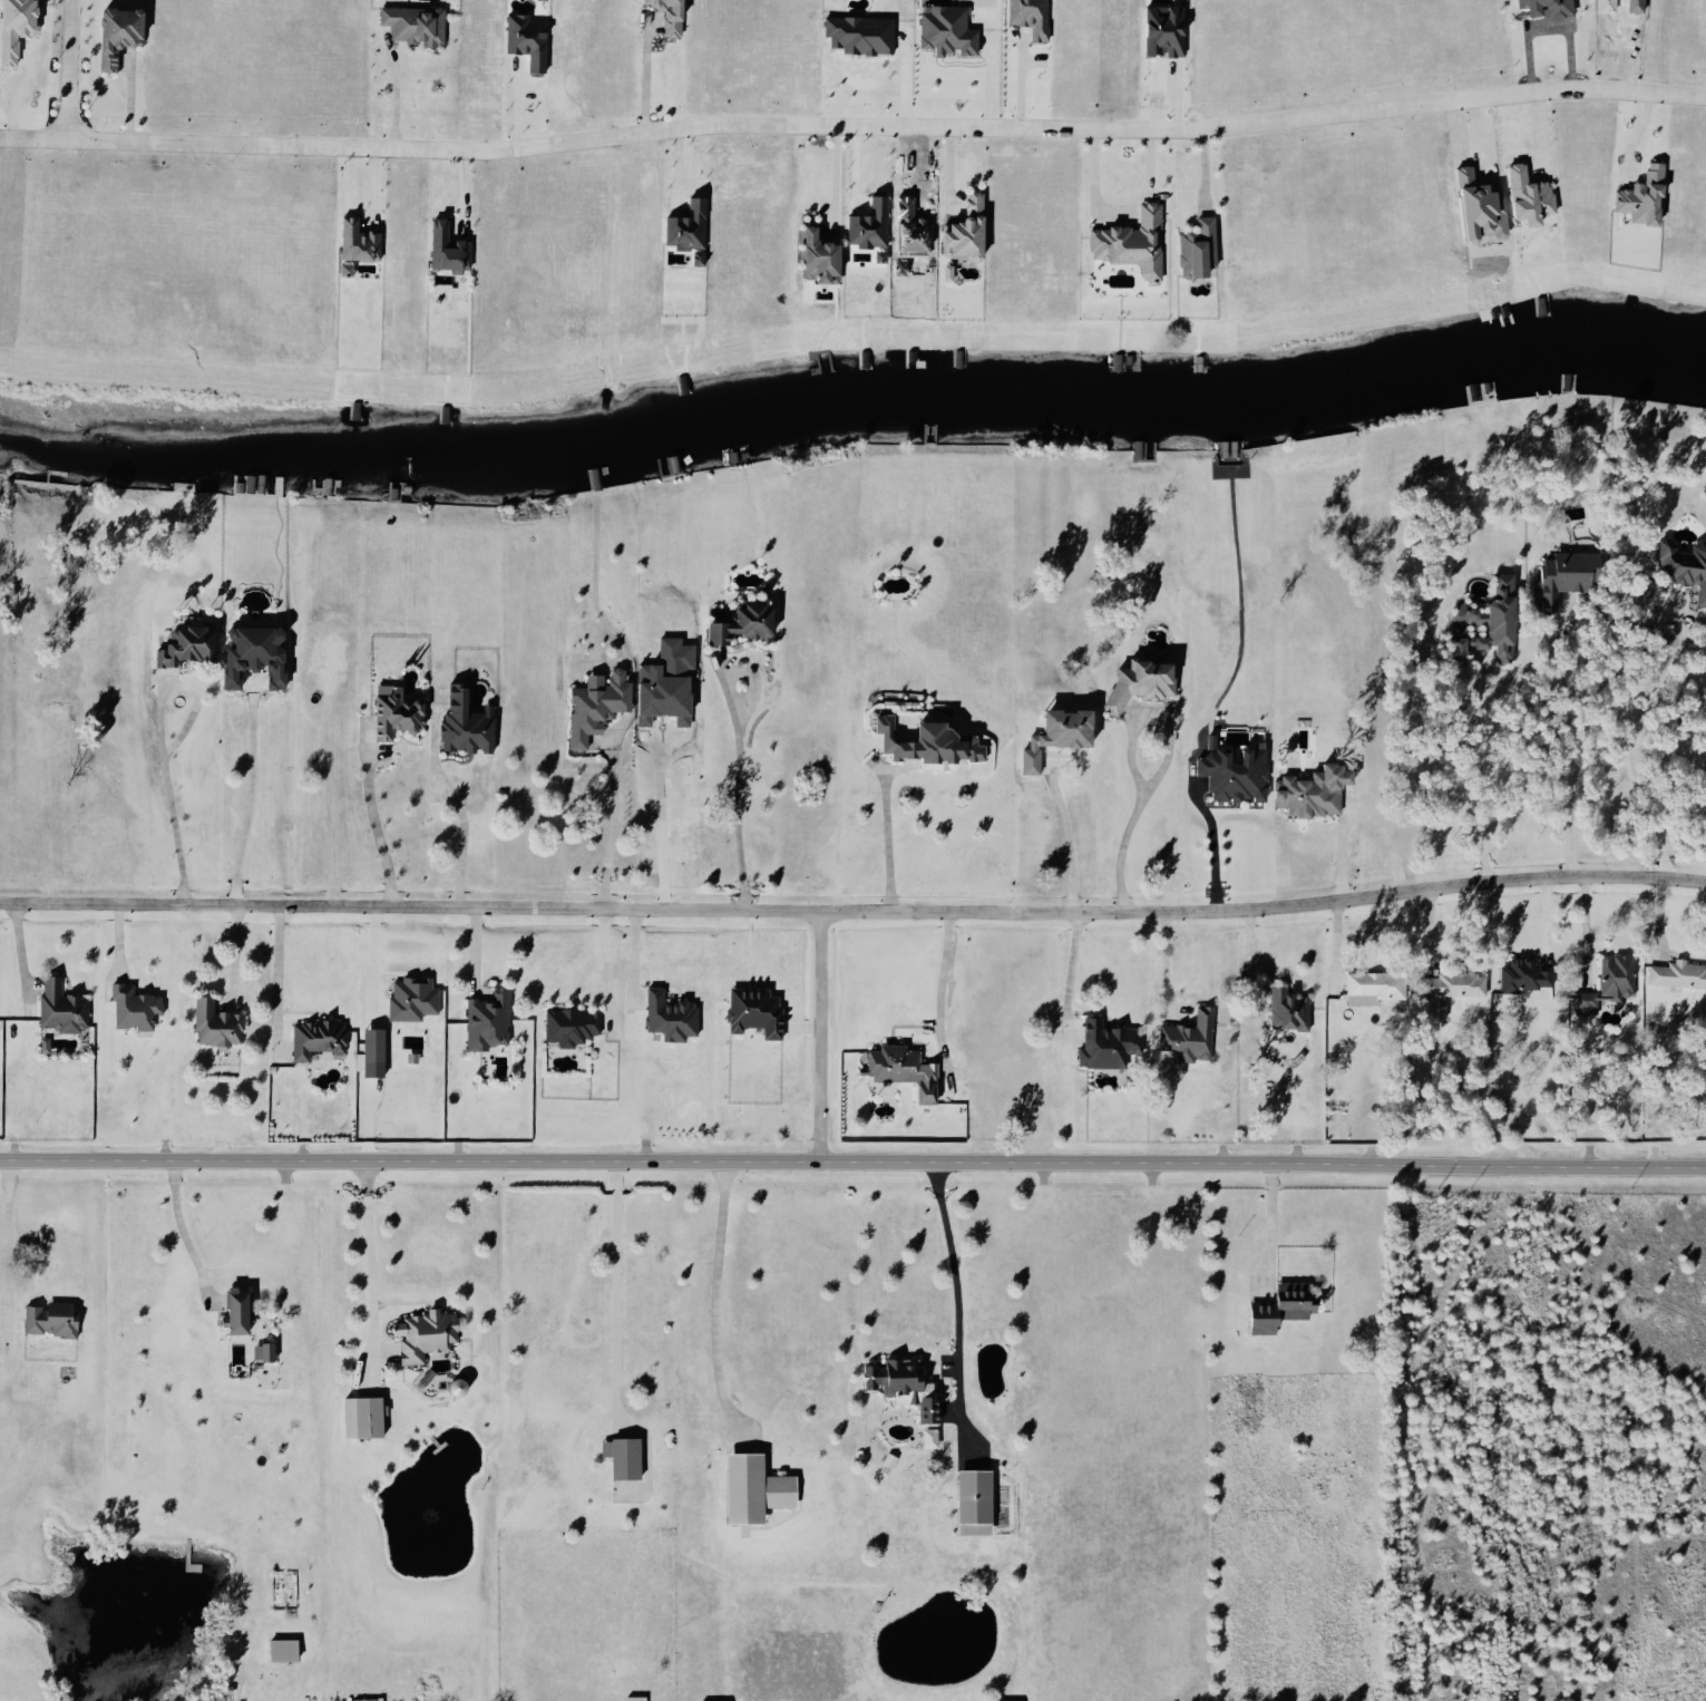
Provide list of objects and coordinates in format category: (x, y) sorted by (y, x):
building: (1543, 8)
building: (1027, 16)
building: (411, 23)
building: (14, 26)
building: (944, 29)
building: (111, 33)
road: (65, 68)
road: (1021, 76)
road: (643, 80)
road: (393, 99)
road: (852, 125)
road: (1541, 142)
road: (838, 175)
building: (1525, 194)
building: (1639, 196)
road: (1118, 207)
building: (959, 230)
building: (354, 241)
building: (1129, 241)
building: (445, 247)
building: (1195, 247)
building: (812, 256)
building: (342, 268)
building: (945, 272)
building: (1684, 565)
building: (1559, 576)
building: (1485, 622)
building: (735, 624)
building: (183, 645)
building: (250, 654)
building: (662, 682)
building: (1137, 683)
building: (593, 704)
building: (392, 712)
building: (462, 723)
building: (1051, 735)
building: (924, 741)
road: (165, 745)
road: (1576, 747)
road: (1632, 755)
road: (1168, 766)
building: (1230, 772)
road: (1483, 779)
building: (1308, 791)
road: (742, 796)
road: (253, 808)
road: (612, 817)
road: (373, 820)
road: (660, 825)
road: (466, 838)
road: (1072, 846)
road: (1212, 846)
road: (891, 847)
road: (854, 910)
road: (240, 960)
road: (1170, 965)
road: (1068, 972)
building: (1676, 974)
building: (1522, 975)
road: (946, 979)
building: (1451, 983)
building: (1373, 984)
building: (1606, 984)
road: (283, 985)
building: (410, 999)
building: (59, 1008)
building: (131, 1008)
building: (1285, 1010)
building: (751, 1011)
building: (666, 1017)
building: (485, 1020)
building: (212, 1024)
building: (569, 1024)
road: (817, 1034)
building: (1187, 1037)
building: (314, 1038)
building: (1104, 1043)
building: (369, 1052)
building: (900, 1070)
road: (852, 1160)
road: (1275, 1215)
road: (181, 1229)
road: (11, 1243)
road: (952, 1244)
road: (373, 1245)
road: (718, 1283)
road: (618, 1294)
building: (1277, 1306)
building: (232, 1310)
building: (47, 1318)
building: (421, 1333)
building: (260, 1350)
building: (900, 1384)
building: (359, 1415)
building: (926, 1436)
building: (618, 1455)
building: (749, 1487)
building: (968, 1500)
building: (279, 1649)
building: (632, 1698)
building: (710, 1700)
building: (1005, 1700)

